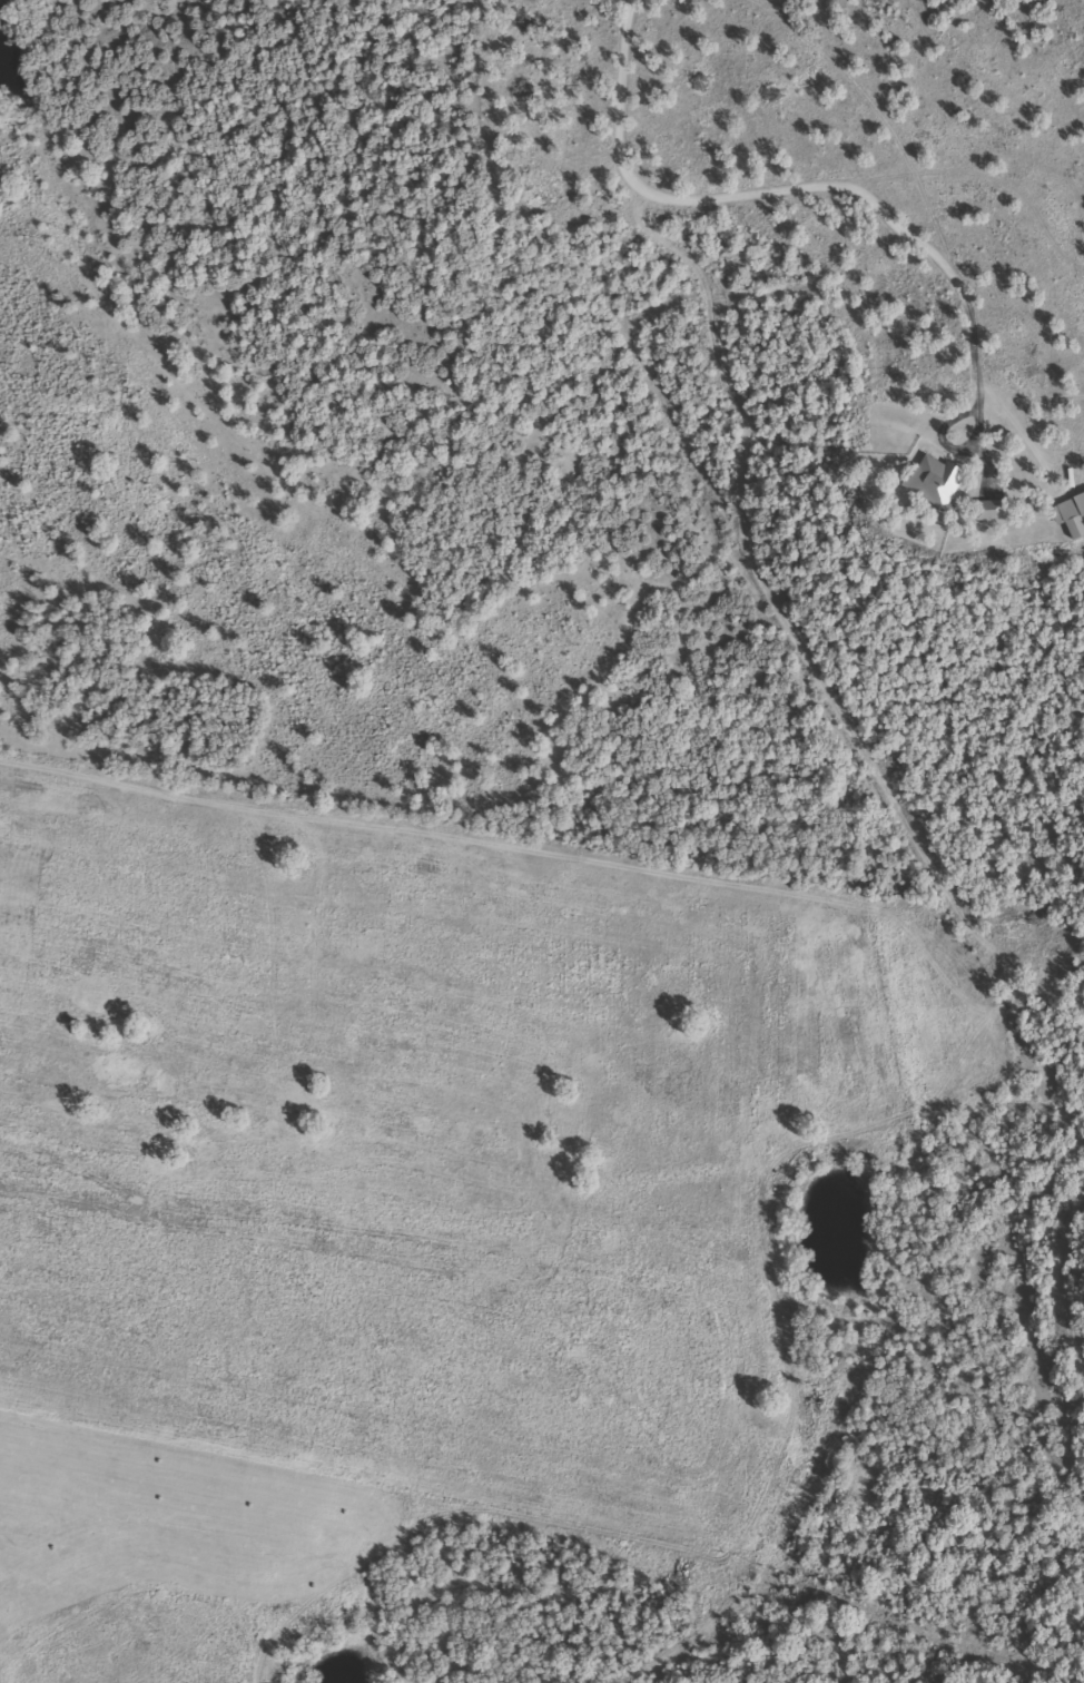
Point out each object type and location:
building: (932, 479)
building: (987, 509)
building: (1070, 518)

